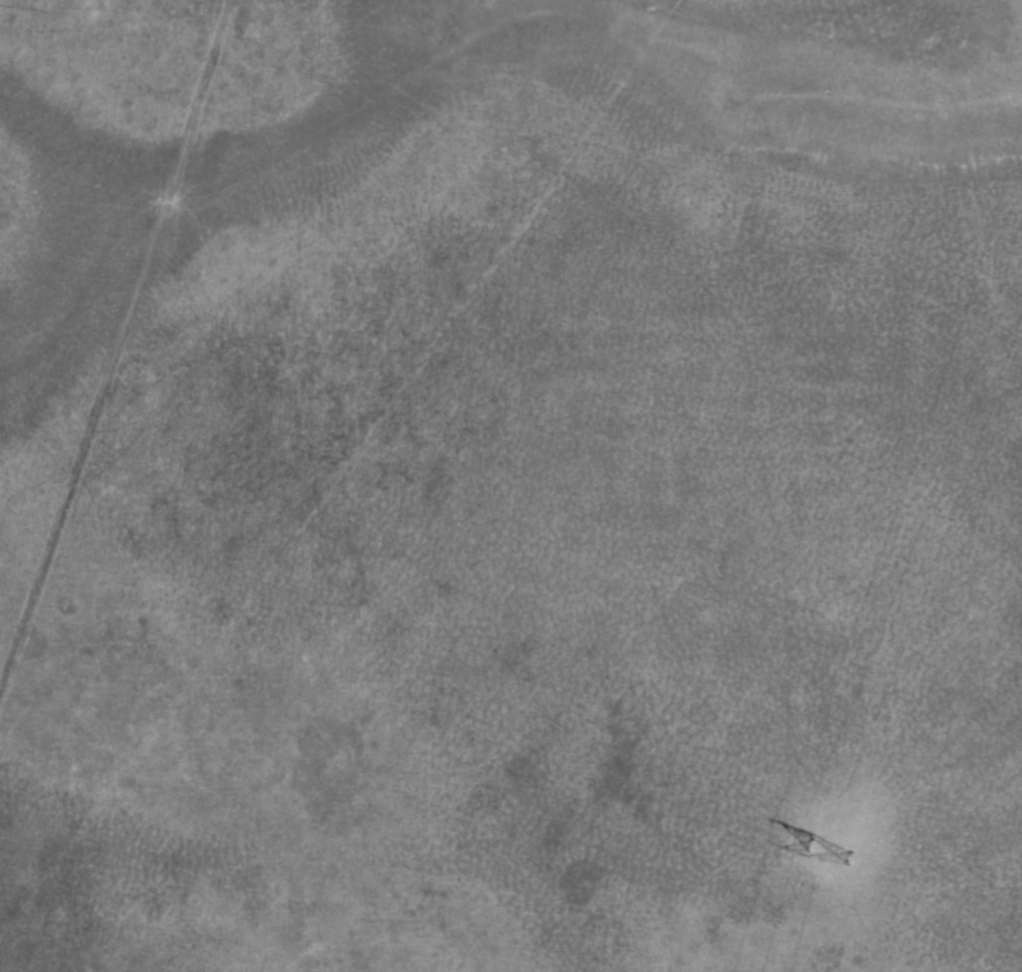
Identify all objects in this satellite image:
power tower: (837, 889)

